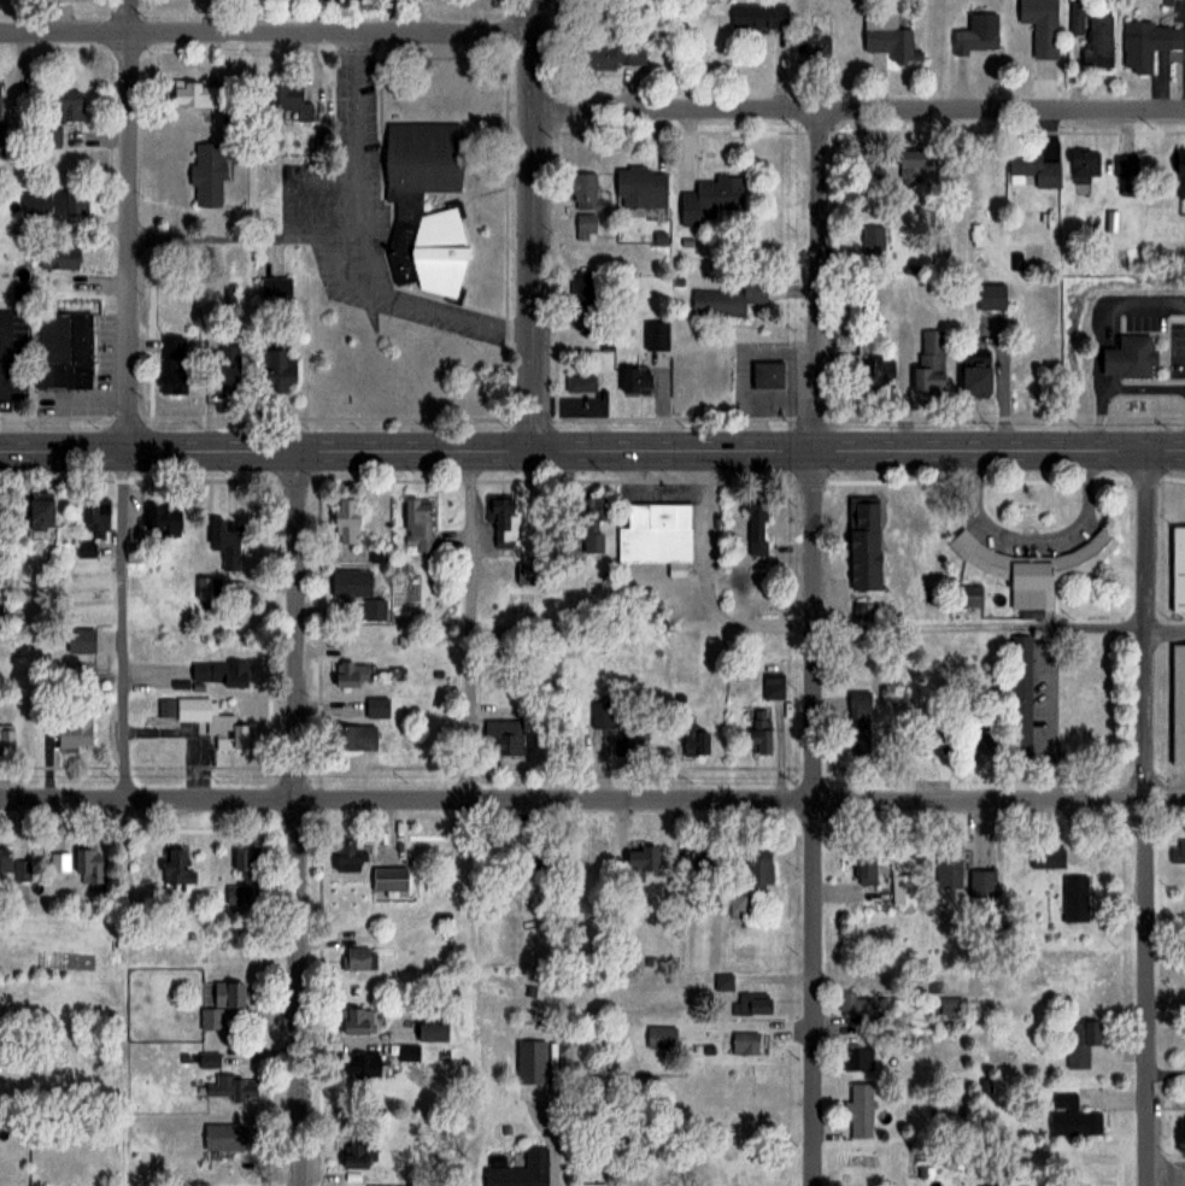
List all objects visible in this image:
building: (758, 13)
building: (1040, 25)
building: (978, 33)
road: (266, 34)
building: (1092, 34)
building: (891, 40)
building: (1144, 43)
building: (819, 45)
building: (610, 51)
building: (193, 93)
building: (289, 101)
road: (858, 112)
building: (60, 116)
building: (917, 158)
building: (1084, 165)
building: (1034, 168)
building: (1180, 169)
building: (209, 172)
building: (641, 184)
building: (585, 190)
building: (710, 196)
building: (54, 204)
building: (407, 204)
road: (131, 224)
road: (532, 224)
building: (586, 224)
road: (247, 236)
road: (366, 239)
building: (873, 240)
building: (57, 256)
road: (809, 281)
building: (275, 287)
building: (583, 287)
building: (990, 295)
building: (728, 298)
building: (655, 334)
building: (61, 348)
building: (1130, 356)
building: (872, 358)
building: (929, 362)
building: (171, 363)
building: (225, 369)
building: (275, 369)
building: (767, 374)
building: (974, 377)
building: (633, 378)
building: (580, 382)
road: (592, 450)
building: (39, 510)
building: (94, 513)
building: (162, 519)
building: (344, 519)
building: (863, 521)
building: (418, 522)
building: (504, 523)
building: (591, 523)
building: (756, 524)
building: (656, 532)
road: (1033, 538)
building: (224, 540)
building: (84, 548)
building: (135, 552)
building: (1033, 566)
building: (1178, 568)
building: (357, 589)
building: (970, 595)
building: (0, 612)
road: (108, 623)
road: (979, 623)
road: (470, 624)
road: (1165, 629)
building: (80, 639)
building: (218, 673)
building: (348, 673)
building: (774, 683)
building: (1021, 694)
building: (1178, 703)
building: (376, 706)
building: (602, 714)
building: (201, 718)
building: (860, 718)
road: (178, 726)
building: (74, 727)
building: (922, 727)
building: (759, 729)
building: (6, 734)
building: (979, 734)
building: (503, 735)
building: (353, 736)
building: (694, 738)
building: (638, 741)
road: (592, 800)
road: (300, 816)
road: (813, 817)
road: (1145, 817)
building: (1179, 851)
building: (346, 853)
building: (536, 856)
building: (699, 856)
building: (4, 858)
building: (1046, 858)
building: (242, 859)
building: (58, 861)
building: (640, 861)
building: (88, 865)
building: (174, 867)
building: (866, 867)
building: (761, 868)
building: (20, 869)
building: (949, 869)
building: (391, 880)
building: (981, 883)
building: (903, 887)
building: (236, 893)
building: (1074, 898)
building: (357, 957)
building: (221, 1002)
building: (753, 1002)
building: (858, 1004)
building: (951, 1005)
building: (358, 1021)
building: (423, 1037)
building: (661, 1037)
building: (745, 1041)
building: (1081, 1041)
building: (860, 1056)
building: (358, 1064)
building: (235, 1087)
building: (860, 1108)
building: (1073, 1116)
building: (224, 1137)
building: (357, 1156)
building: (521, 1170)
building: (420, 1185)

